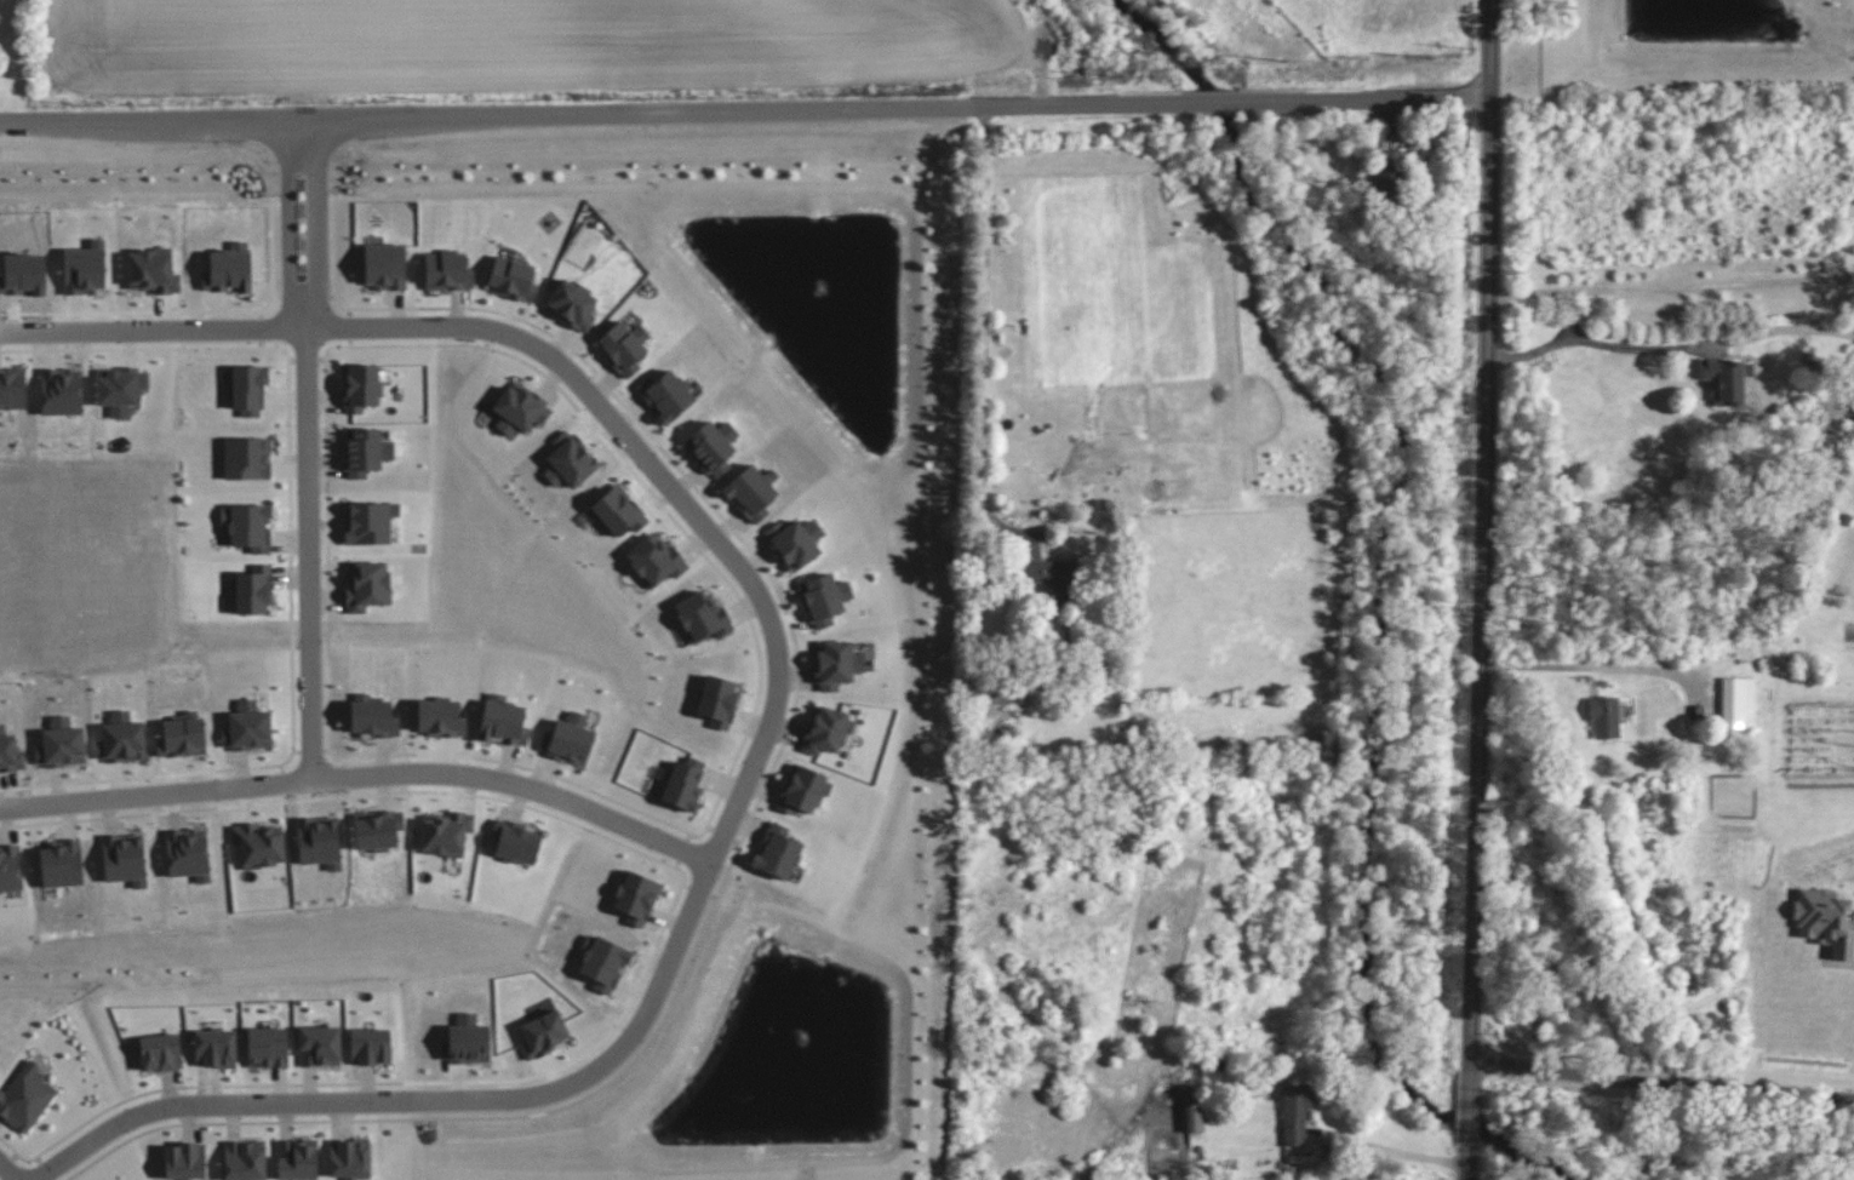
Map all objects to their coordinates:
road: (1367, 101)
road: (1217, 103)
road: (595, 111)
building: (1387, 173)
building: (384, 265)
building: (229, 269)
building: (447, 271)
building: (513, 279)
road: (1671, 286)
building: (572, 304)
road: (984, 316)
road: (307, 330)
road: (154, 332)
road: (1590, 342)
building: (624, 346)
building: (1727, 379)
building: (360, 386)
building: (120, 389)
building: (248, 389)
building: (666, 395)
building: (520, 409)
building: (713, 447)
building: (247, 458)
building: (570, 460)
building: (753, 492)
building: (618, 511)
building: (370, 522)
building: (248, 527)
road: (1484, 538)
building: (796, 542)
road: (311, 556)
building: (656, 560)
building: (1051, 578)
building: (367, 586)
building: (254, 590)
building: (824, 598)
building: (837, 665)
road: (1593, 666)
building: (1738, 703)
building: (1604, 716)
building: (441, 718)
building: (503, 721)
building: (826, 731)
building: (568, 739)
road: (365, 778)
building: (685, 784)
building: (802, 790)
building: (446, 834)
building: (259, 844)
building: (777, 852)
road: (717, 859)
building: (61, 865)
building: (10, 869)
building: (636, 898)
building: (544, 1033)
building: (320, 1046)
building: (371, 1046)
building: (267, 1047)
building: (216, 1048)
building: (160, 1052)
road: (1661, 1082)
building: (25, 1098)
road: (1470, 1112)
building: (1295, 1115)
building: (1192, 1119)
road: (1394, 1155)
building: (350, 1158)
building: (245, 1159)
building: (297, 1159)
building: (184, 1161)
road: (1467, 1163)
road: (6, 1172)

